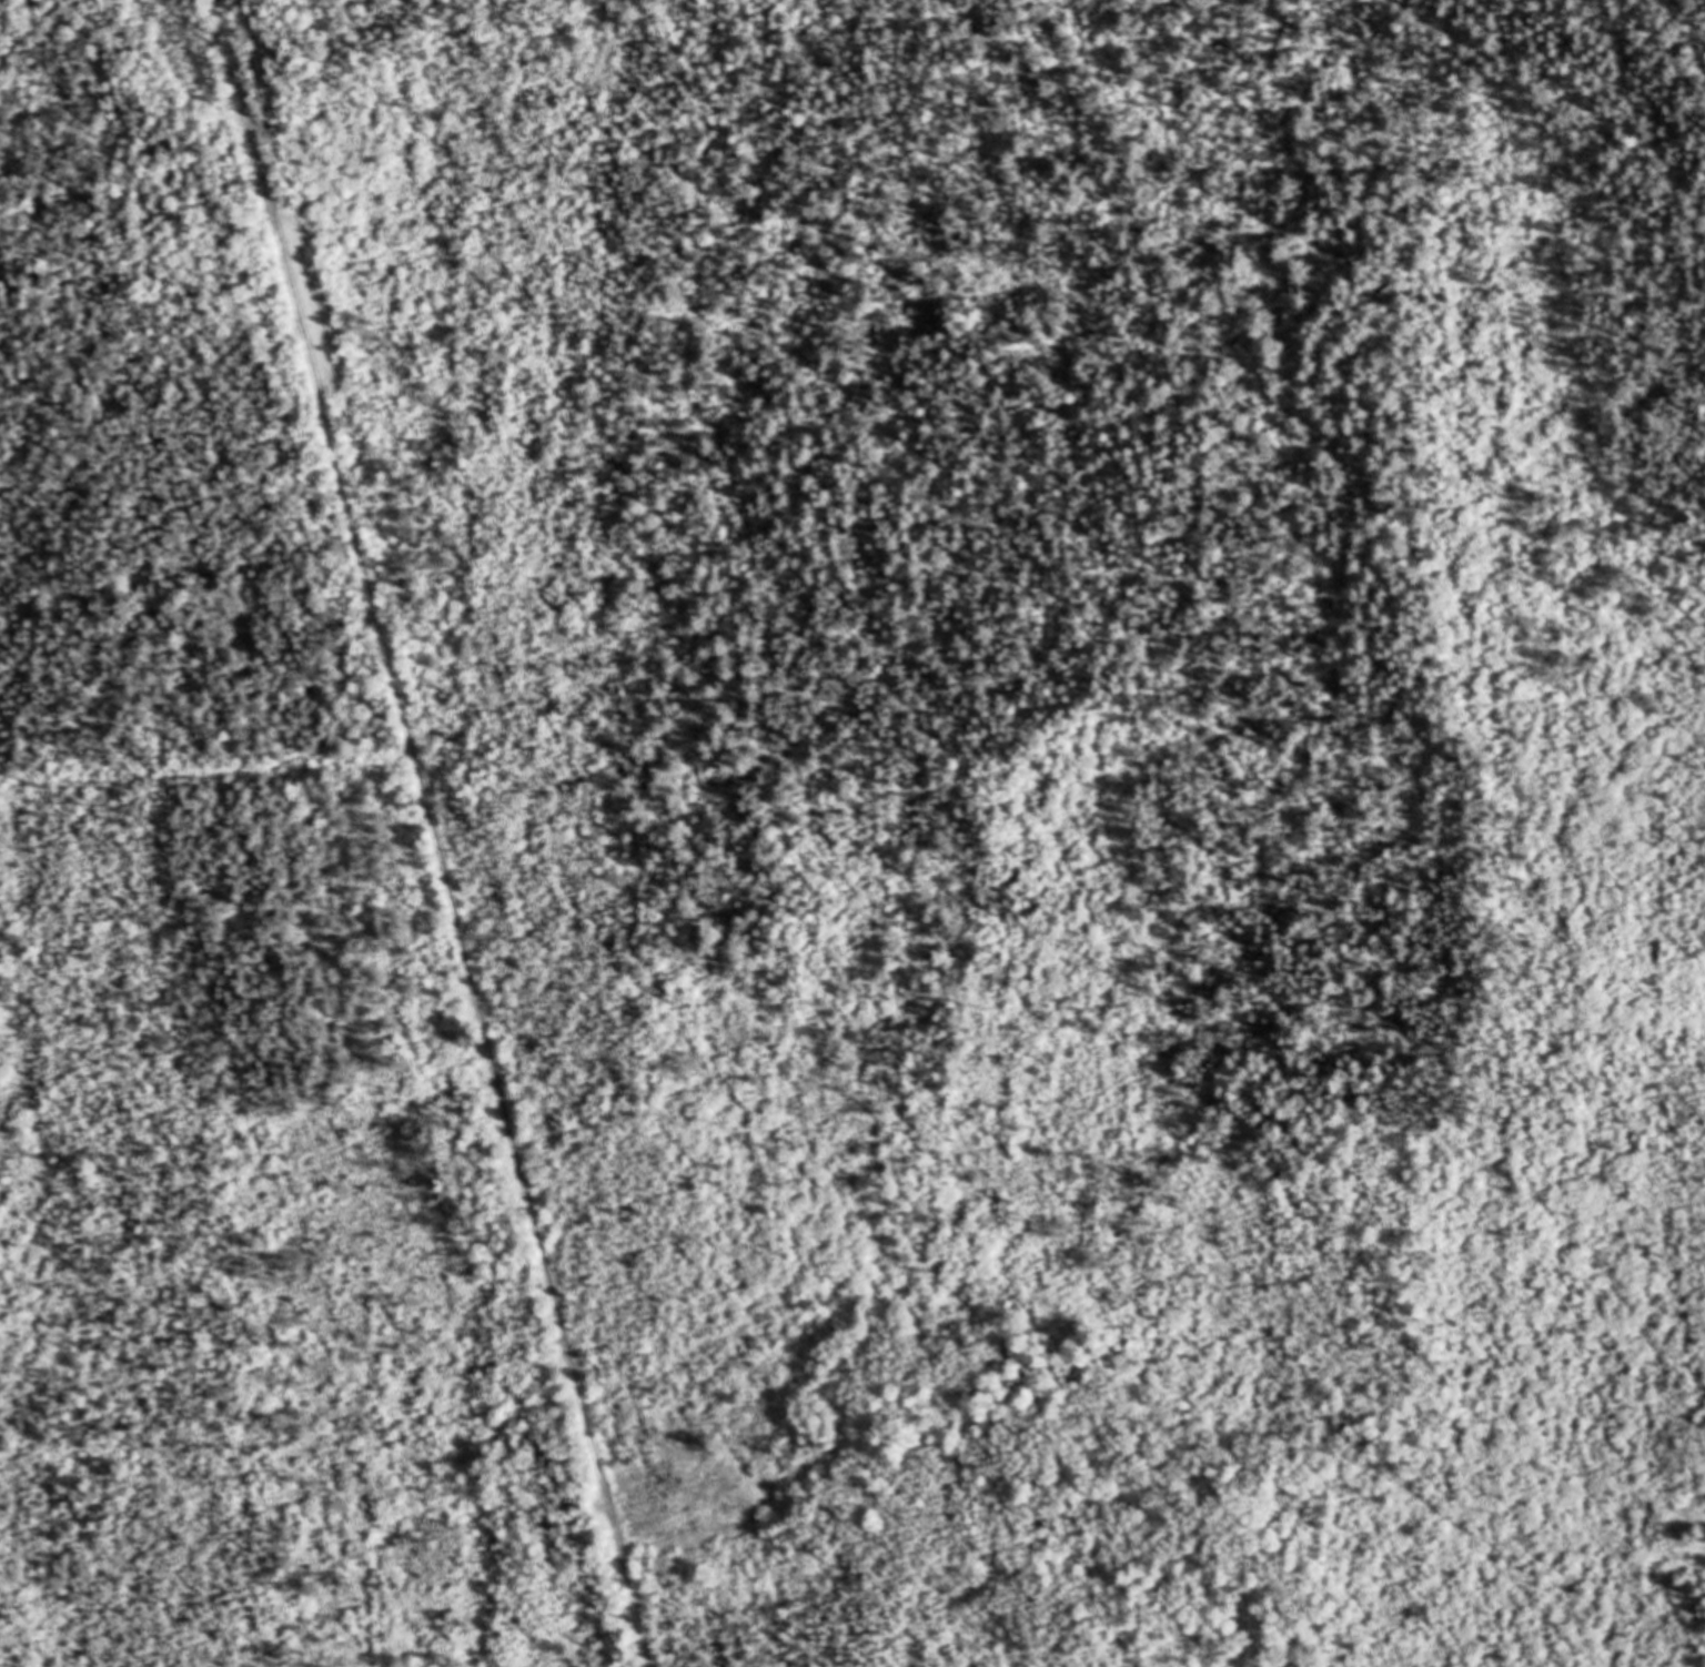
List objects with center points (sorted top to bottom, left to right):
road: (444, 835)

